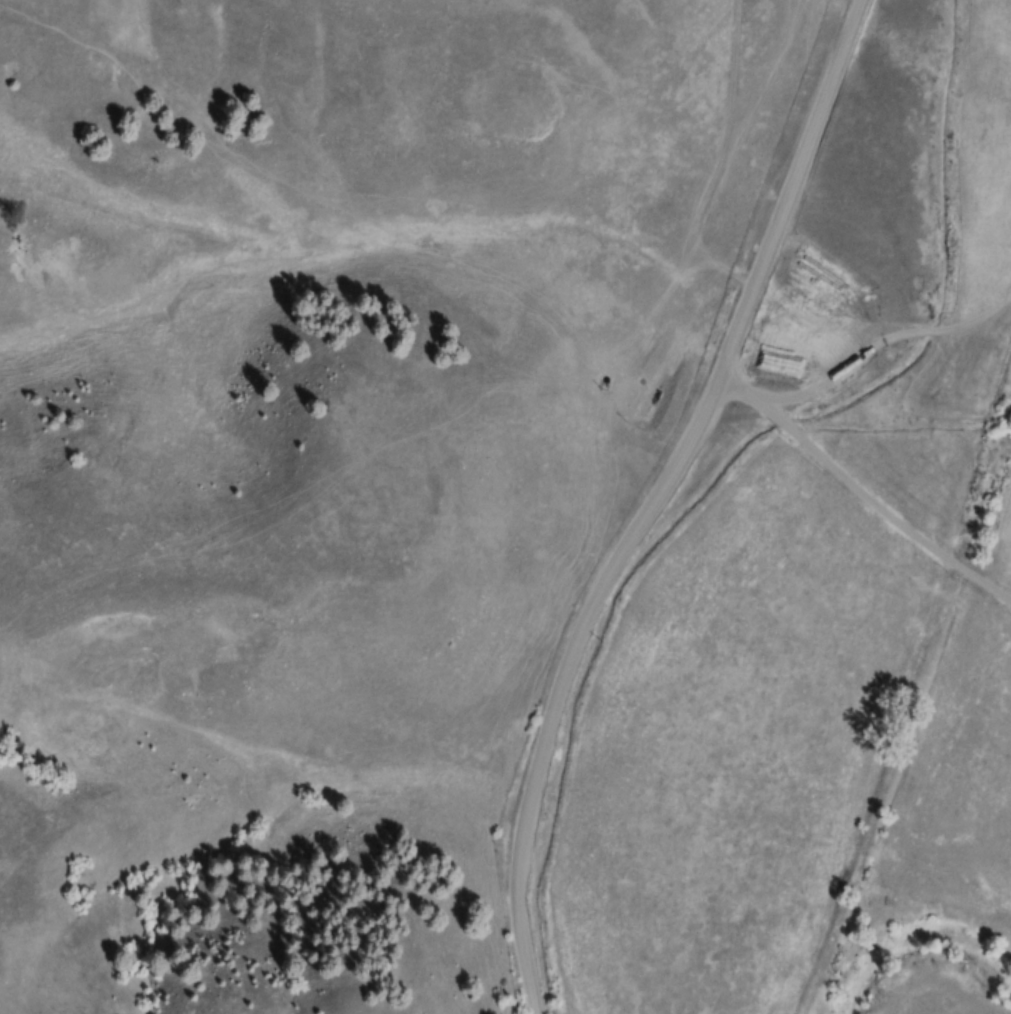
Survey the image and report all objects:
road: (653, 501)

